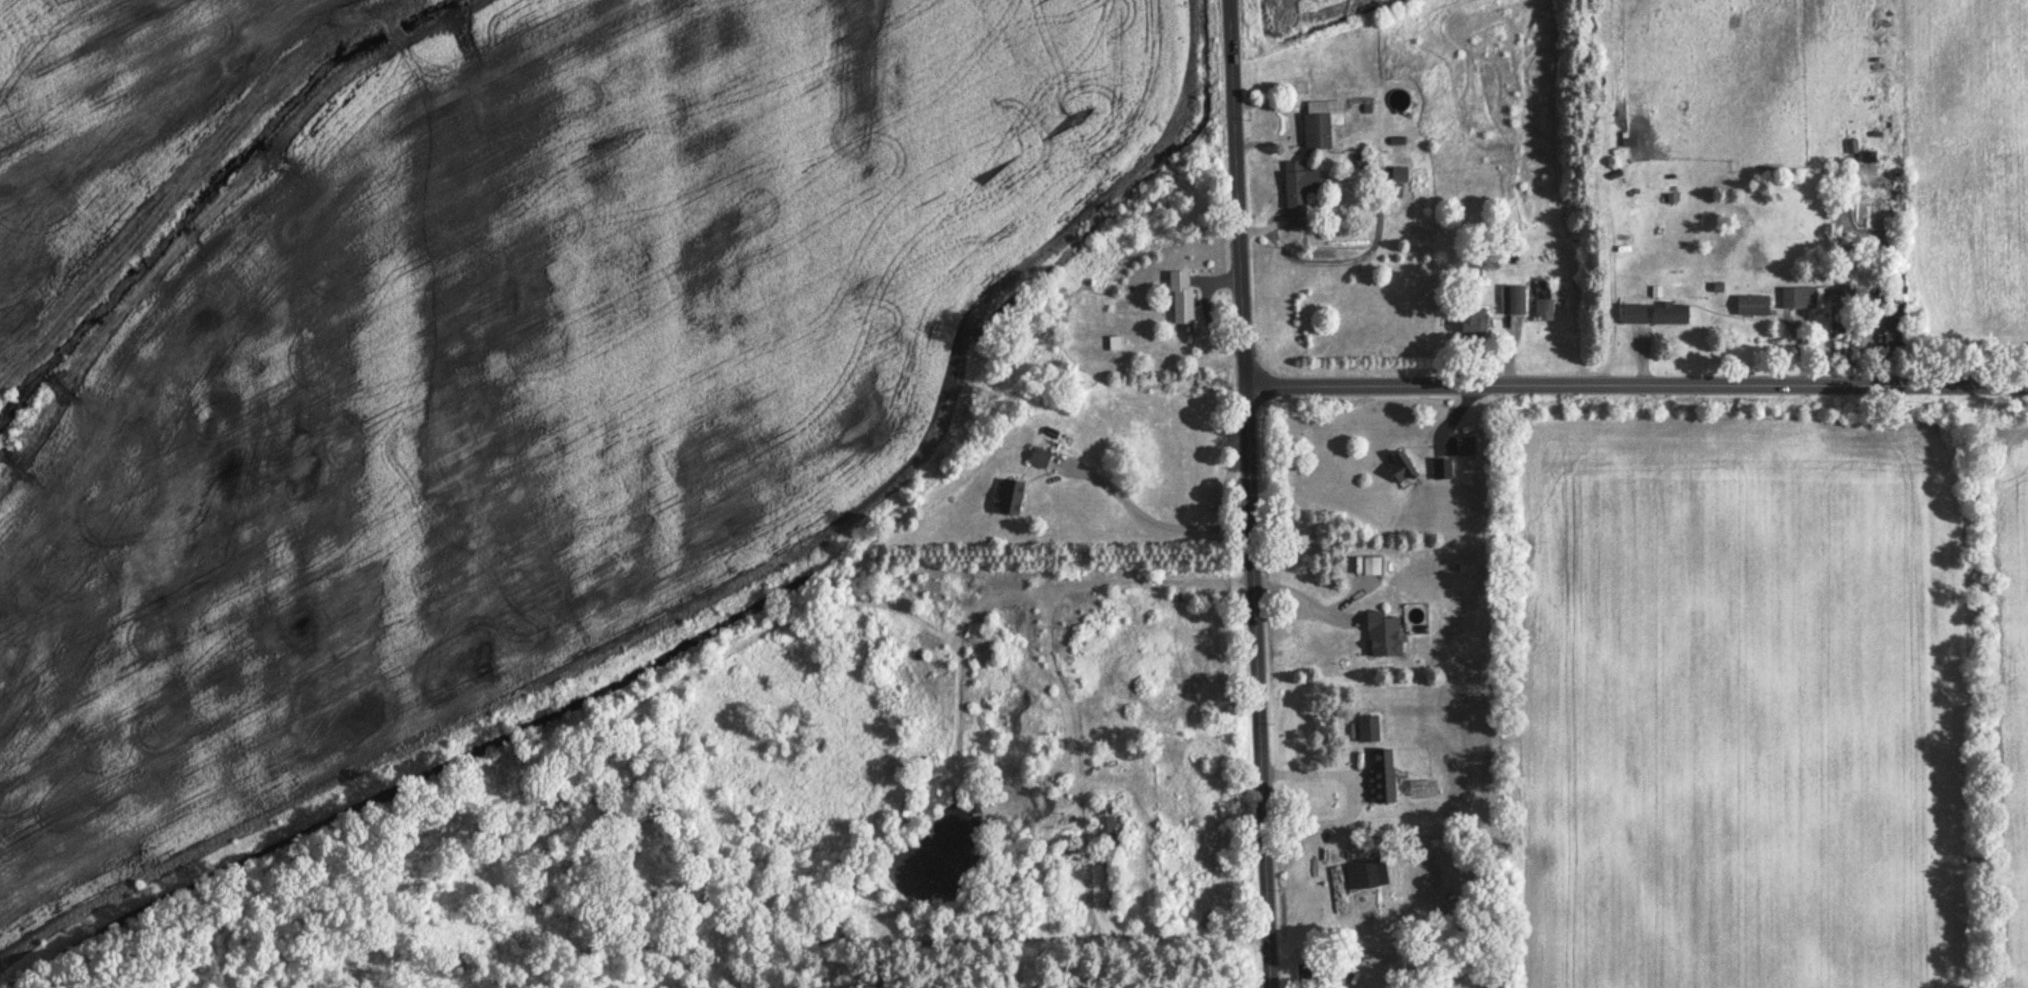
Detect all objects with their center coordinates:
building: (1324, 123)
building: (1870, 158)
building: (1303, 192)
building: (1184, 298)
building: (1802, 299)
building: (1516, 302)
building: (1546, 303)
building: (1756, 306)
building: (1637, 315)
building: (1673, 315)
building: (1475, 325)
building: (1897, 333)
road: (1638, 389)
building: (1466, 448)
building: (1042, 460)
building: (1402, 468)
building: (1443, 470)
road: (1253, 494)
building: (1014, 499)
road: (1157, 523)
building: (1371, 567)
road: (1307, 604)
building: (1385, 637)
building: (973, 698)
building: (1384, 778)
road: (1355, 798)
building: (1112, 829)
building: (1365, 876)
building: (1308, 977)

